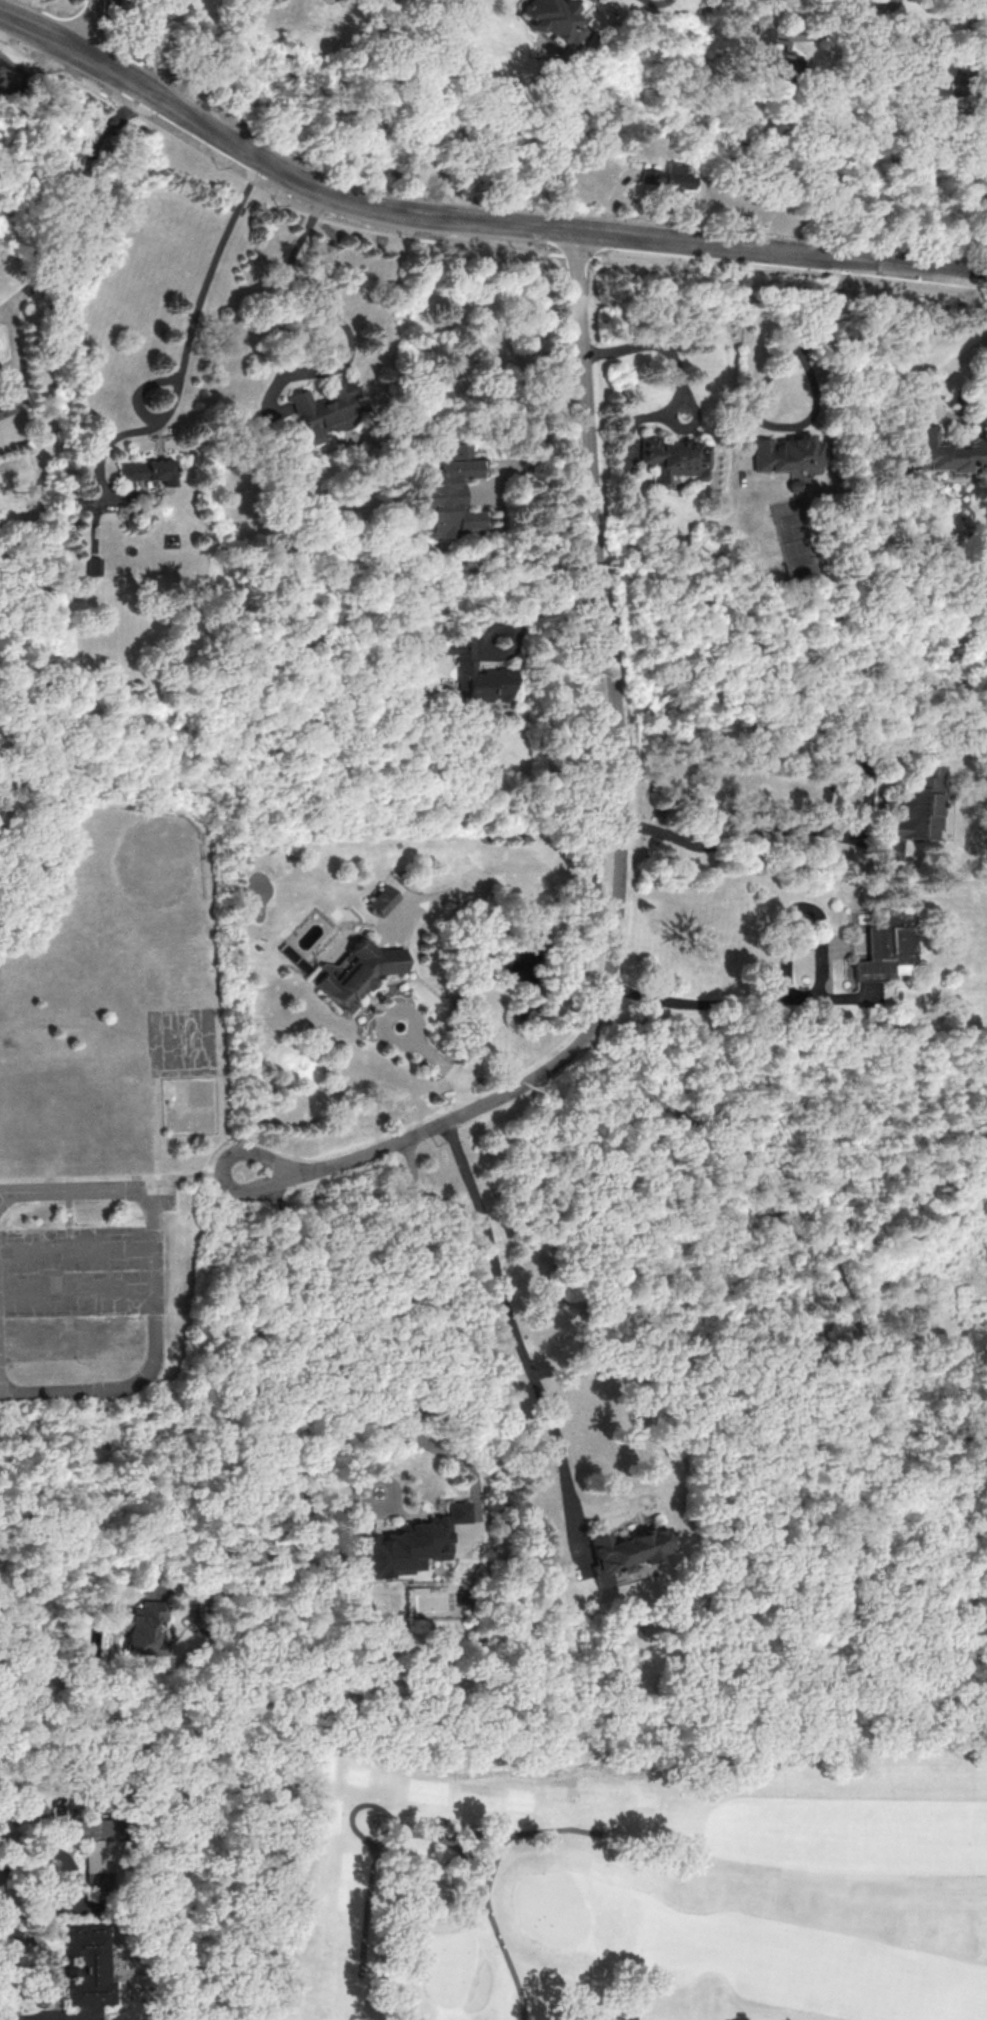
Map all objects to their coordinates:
road: (872, 8)
building: (549, 16)
road: (89, 25)
road: (40, 30)
building: (772, 53)
building: (666, 175)
road: (78, 198)
road: (514, 222)
road: (469, 244)
road: (3, 312)
road: (194, 341)
road: (974, 344)
road: (14, 345)
road: (656, 345)
road: (283, 363)
road: (759, 388)
building: (5, 407)
building: (325, 412)
road: (950, 415)
road: (543, 433)
building: (945, 452)
building: (672, 459)
building: (148, 470)
building: (447, 493)
building: (93, 565)
road: (547, 607)
building: (477, 672)
building: (918, 809)
road: (621, 822)
road: (833, 834)
park: (126, 882)
building: (381, 899)
road: (478, 943)
building: (882, 944)
road: (817, 996)
park: (12, 1002)
road: (443, 1063)
road: (156, 1126)
park: (111, 1132)
road: (733, 1145)
road: (122, 1176)
road: (75, 1251)
parking lot: (72, 1273)
road: (151, 1283)
road: (76, 1295)
road: (397, 1304)
road: (509, 1319)
road: (276, 1427)
building: (406, 1544)
building: (625, 1551)
building: (141, 1627)
road: (358, 1805)
road: (442, 1827)
road: (421, 1832)
building: (94, 1848)
road: (469, 1858)
road: (69, 1881)
park: (582, 1882)
road: (494, 1928)
building: (86, 1964)

